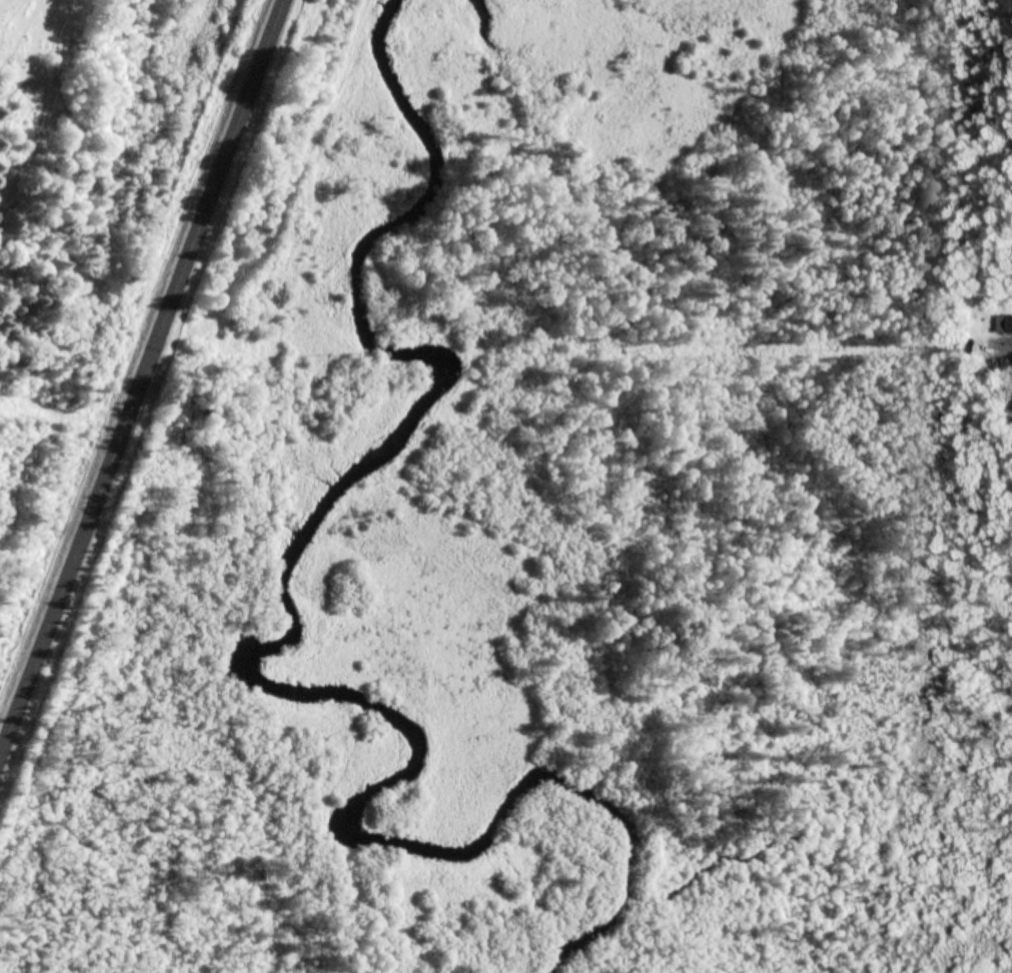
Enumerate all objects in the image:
building: (1006, 324)
road: (141, 376)

